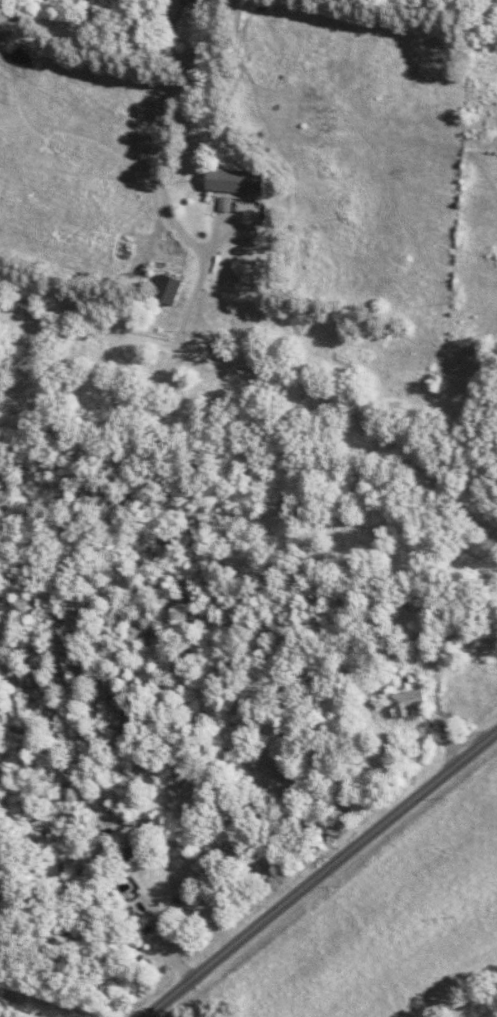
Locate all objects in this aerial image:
building: (176, 8)
building: (239, 186)
road: (202, 279)
building: (173, 290)
road: (266, 379)
building: (414, 703)
road: (319, 874)

